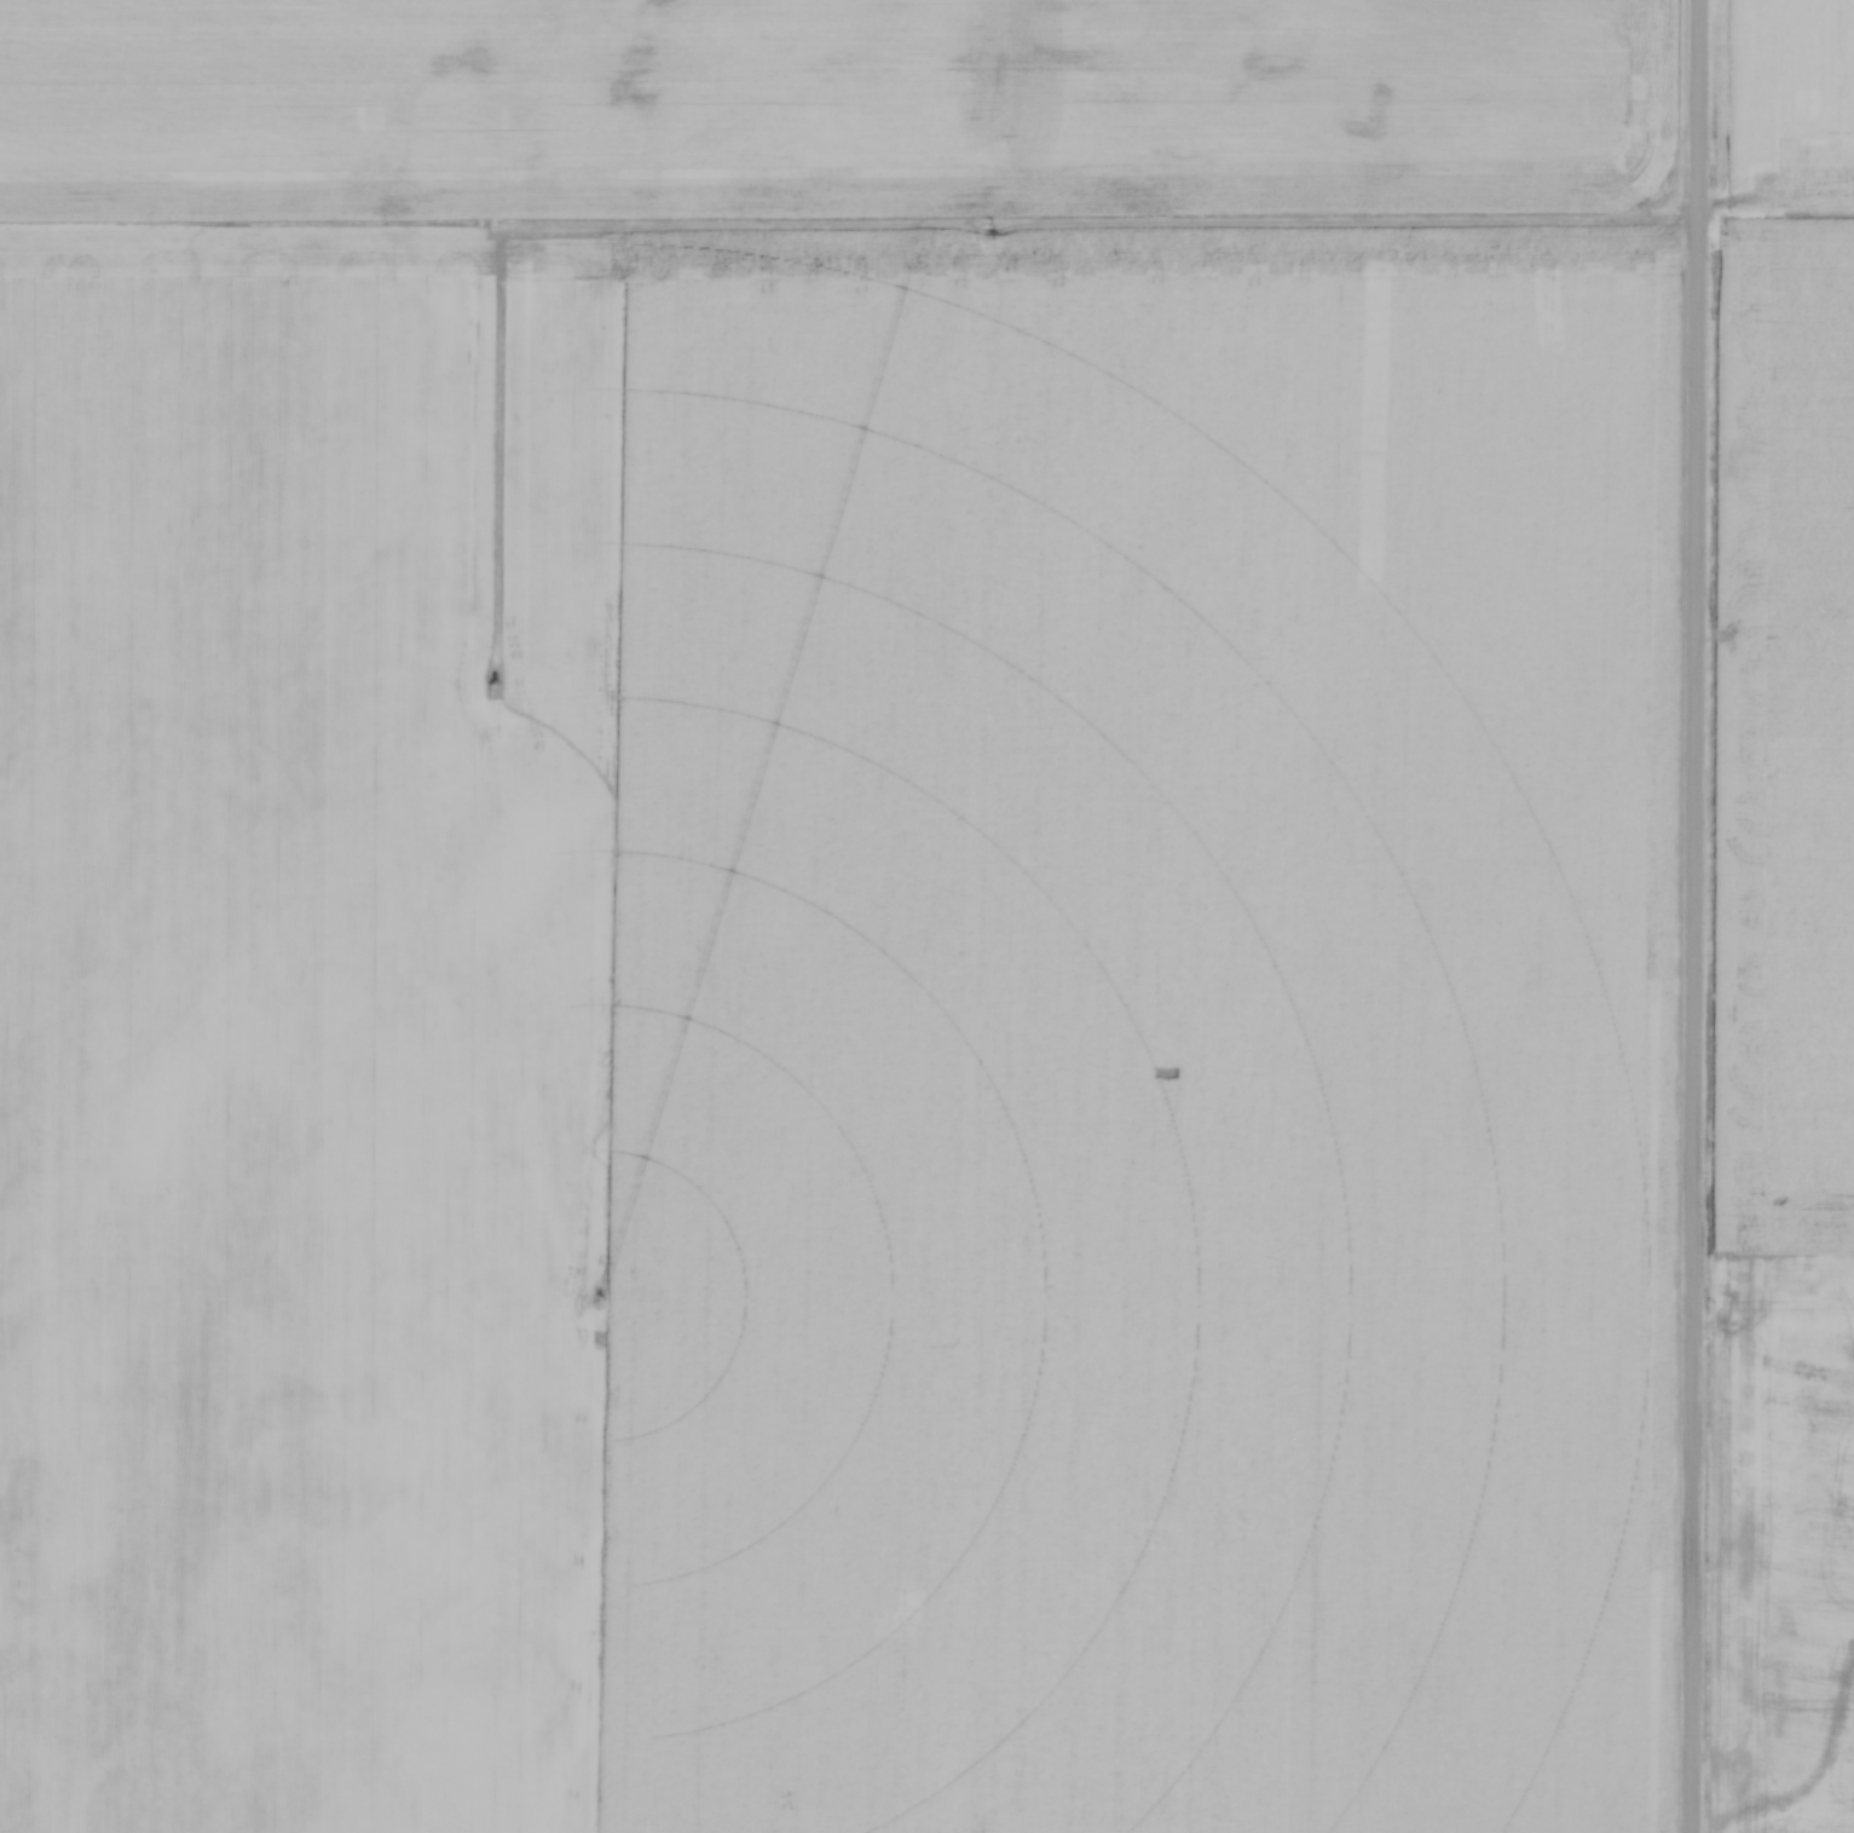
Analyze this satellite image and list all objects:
road: (1690, 916)

